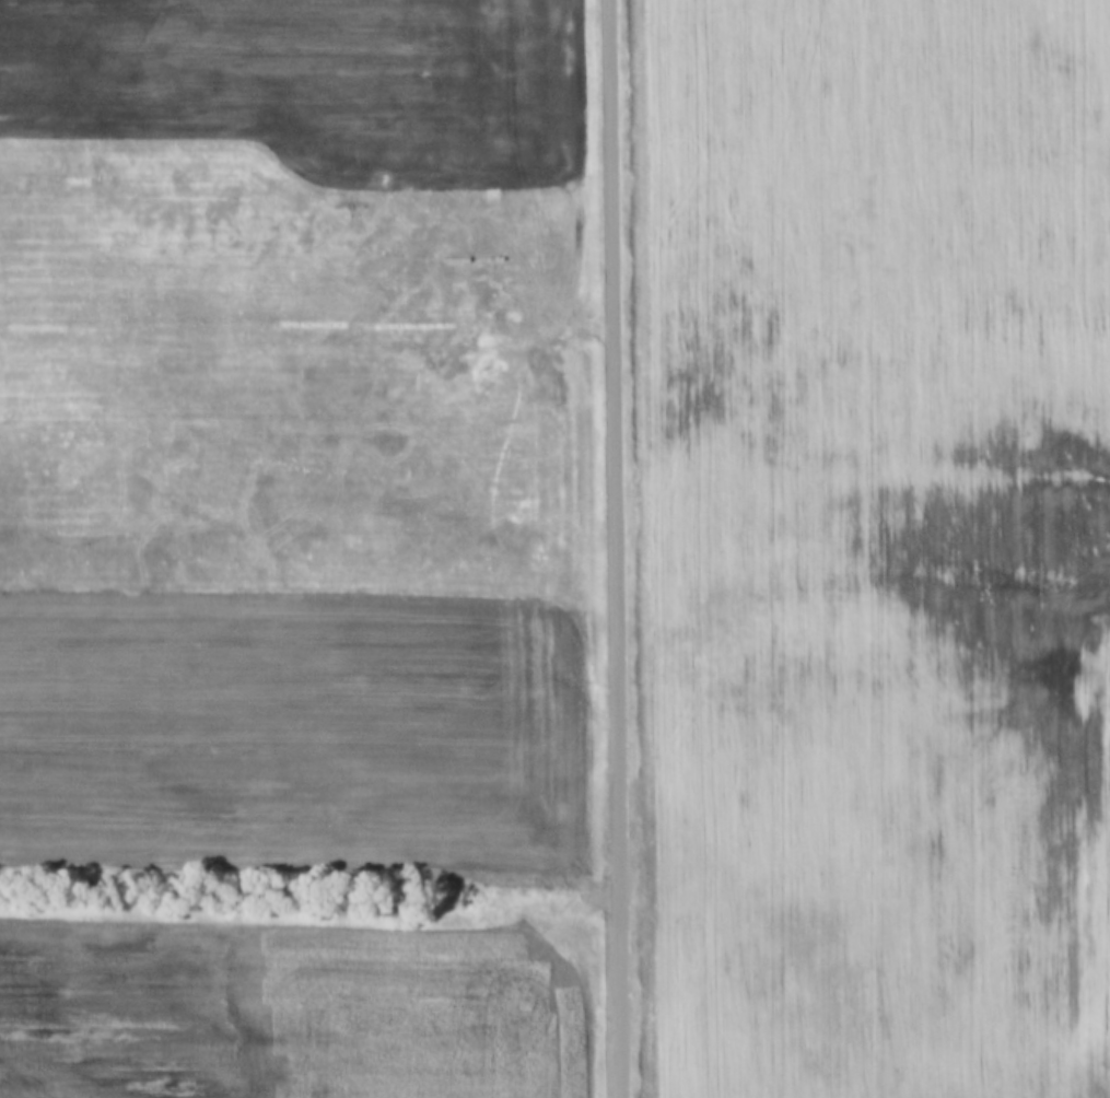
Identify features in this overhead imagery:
road: (615, 548)

